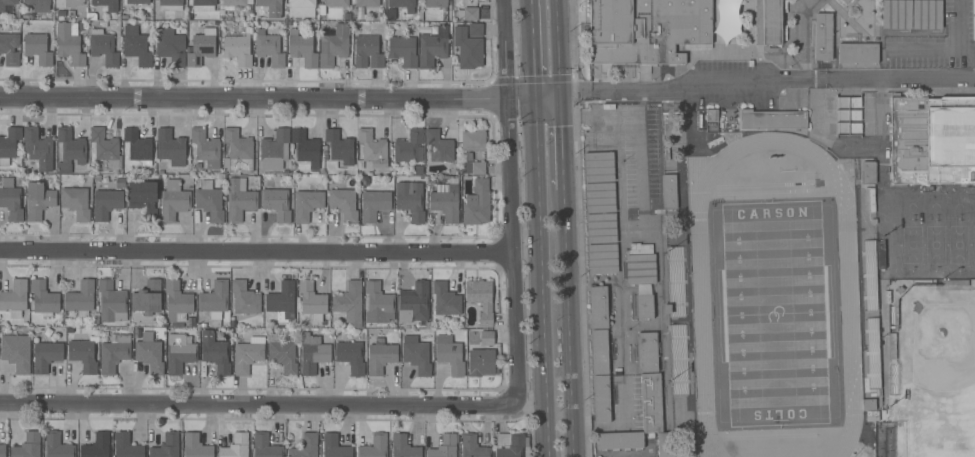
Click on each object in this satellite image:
building: (845, 1)
building: (137, 2)
building: (237, 2)
building: (337, 3)
building: (367, 3)
building: (403, 3)
building: (436, 3)
building: (107, 4)
building: (6, 5)
building: (39, 5)
building: (171, 5)
building: (203, 5)
building: (271, 7)
building: (301, 8)
building: (59, 9)
building: (321, 10)
building: (950, 13)
building: (470, 14)
building: (896, 14)
building: (927, 14)
building: (158, 16)
building: (25, 17)
building: (347, 17)
building: (770, 22)
building: (202, 24)
building: (104, 25)
building: (475, 29)
building: (646, 29)
building: (425, 30)
building: (823, 36)
road: (960, 36)
building: (69, 43)
building: (135, 46)
building: (334, 46)
building: (103, 47)
building: (171, 47)
building: (202, 47)
building: (433, 47)
building: (37, 48)
building: (269, 48)
building: (301, 48)
road: (532, 48)
road: (557, 48)
road: (932, 48)
building: (468, 49)
building: (9, 50)
building: (236, 50)
building: (403, 51)
building: (368, 52)
building: (858, 53)
road: (766, 79)
road: (545, 97)
road: (266, 98)
road: (640, 103)
building: (711, 115)
building: (772, 120)
building: (472, 140)
building: (932, 140)
road: (560, 142)
building: (9, 145)
building: (409, 146)
building: (438, 146)
building: (138, 147)
building: (340, 147)
building: (170, 148)
building: (206, 148)
building: (306, 148)
building: (372, 148)
road: (641, 148)
building: (38, 149)
building: (70, 150)
building: (105, 150)
building: (274, 150)
building: (237, 152)
building: (599, 167)
building: (473, 168)
building: (415, 170)
building: (868, 173)
building: (669, 192)
building: (600, 198)
building: (143, 199)
building: (11, 200)
building: (38, 200)
building: (239, 200)
building: (410, 200)
building: (446, 200)
building: (173, 201)
building: (209, 201)
road: (508, 201)
building: (76, 203)
building: (307, 203)
building: (106, 204)
building: (277, 204)
building: (343, 204)
building: (477, 204)
building: (374, 205)
building: (601, 228)
road: (255, 251)
building: (881, 255)
building: (602, 259)
building: (641, 265)
road: (541, 277)
building: (955, 283)
building: (147, 297)
building: (14, 298)
building: (80, 298)
building: (244, 298)
building: (44, 299)
building: (214, 299)
building: (445, 299)
building: (177, 300)
building: (480, 300)
building: (282, 301)
building: (312, 301)
building: (111, 302)
building: (350, 303)
building: (414, 303)
building: (378, 306)
building: (645, 306)
building: (598, 307)
park: (775, 314)
track: (849, 314)
road: (566, 323)
building: (137, 334)
building: (480, 337)
building: (892, 346)
park: (936, 350)
building: (16, 352)
building: (215, 352)
building: (599, 352)
building: (647, 352)
building: (149, 353)
building: (179, 353)
building: (313, 353)
building: (114, 354)
building: (449, 354)
building: (83, 355)
building: (248, 355)
building: (282, 355)
building: (416, 355)
building: (46, 356)
building: (380, 356)
building: (350, 357)
building: (482, 362)
building: (601, 399)
road: (256, 402)
building: (868, 404)
building: (872, 415)
building: (643, 422)
park: (939, 435)
building: (510, 444)
building: (27, 446)
building: (57, 446)
building: (96, 446)
building: (126, 446)
building: (166, 446)
building: (195, 446)
building: (236, 446)
building: (265, 446)
building: (374, 446)
building: (305, 447)
building: (334, 447)
building: (404, 447)
building: (444, 447)
building: (473, 447)
building: (2, 450)

